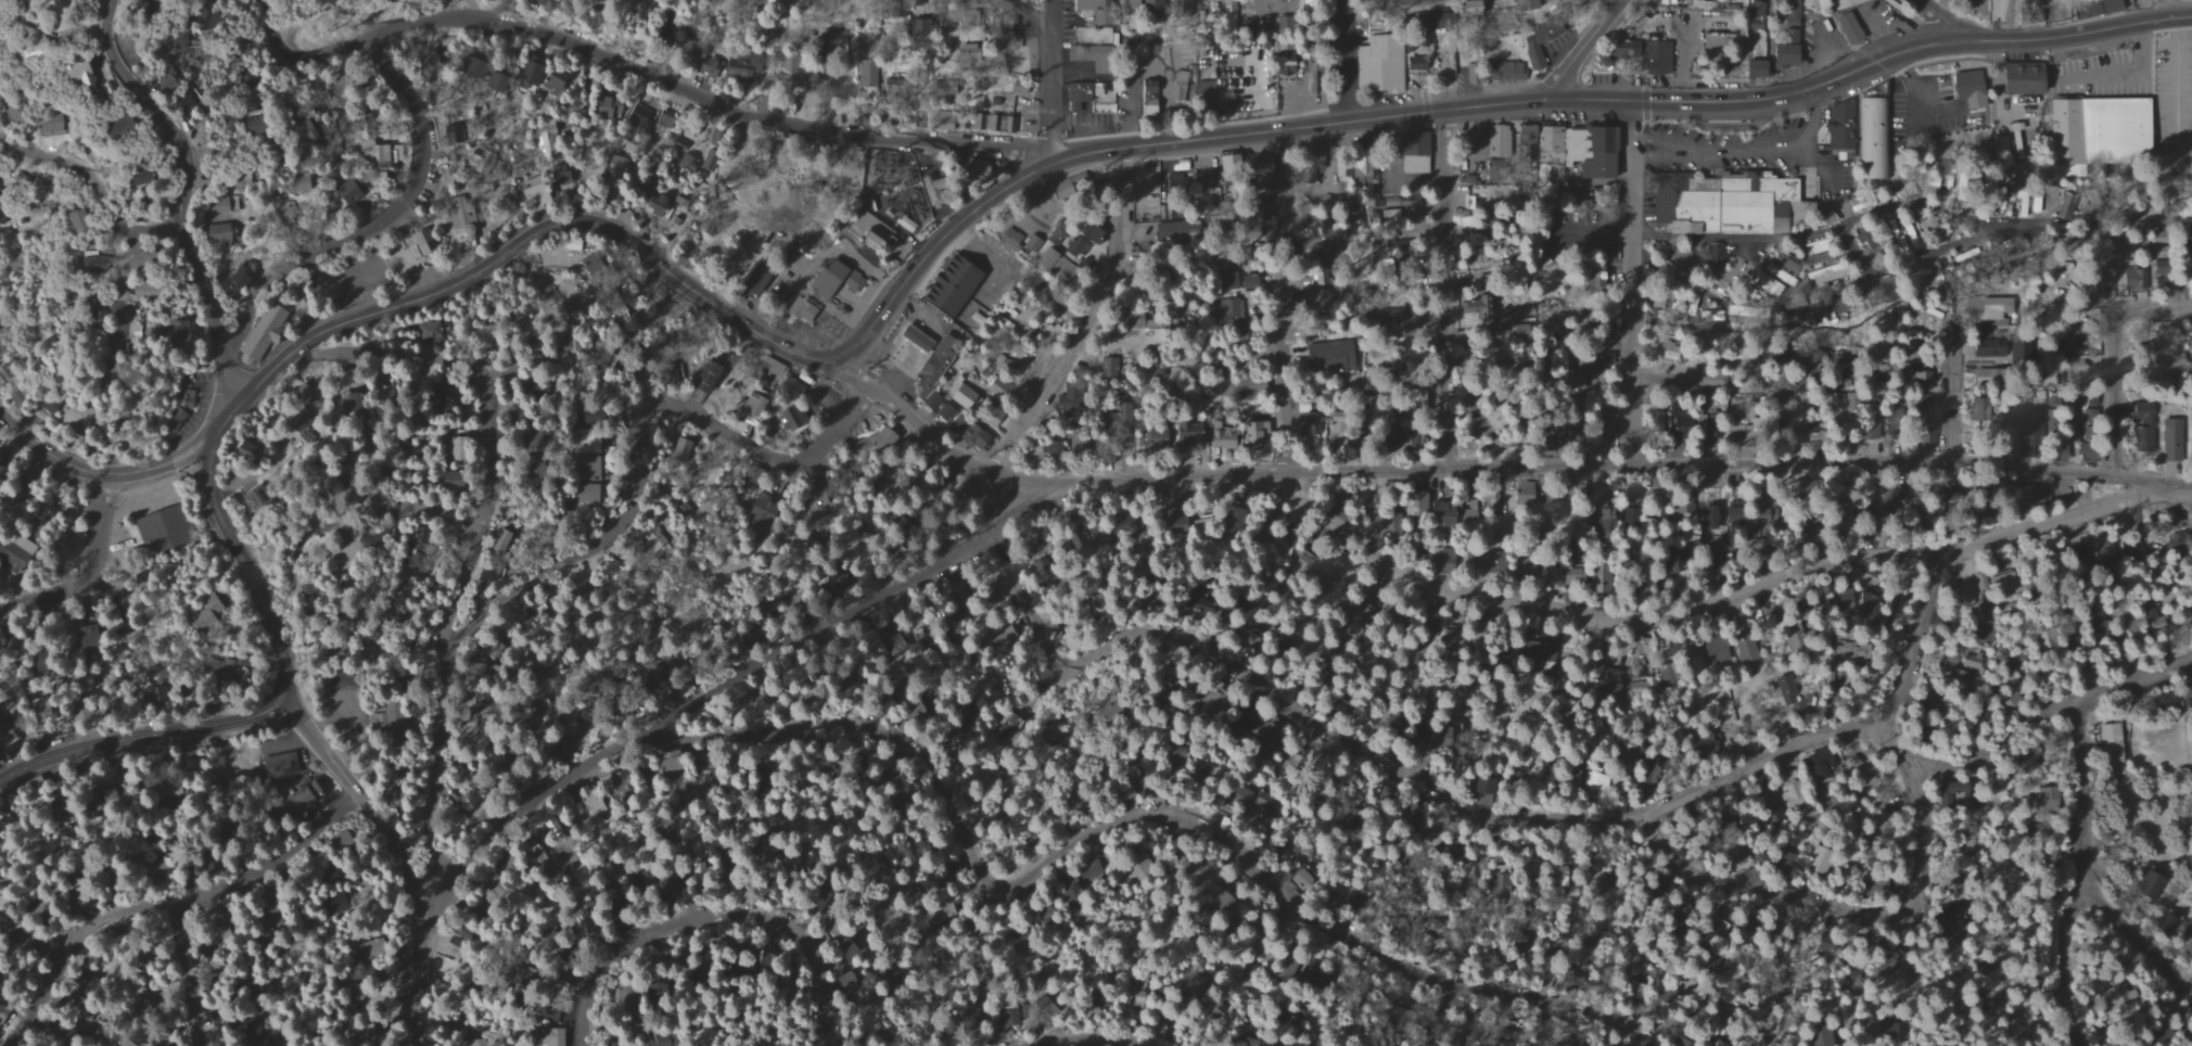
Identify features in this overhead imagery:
building: (1126, 2)
building: (1693, 2)
building: (1847, 3)
building: (65, 4)
building: (1518, 5)
building: (1148, 8)
building: (1469, 8)
building: (2091, 8)
building: (1092, 9)
building: (1755, 13)
road: (310, 16)
road: (1021, 16)
road: (1046, 16)
building: (1431, 18)
road: (1947, 21)
building: (1848, 28)
building: (1539, 42)
building: (38, 47)
road: (1580, 49)
building: (1784, 49)
building: (1076, 55)
building: (1655, 58)
road: (1346, 60)
building: (1382, 63)
building: (1284, 64)
building: (752, 65)
building: (1443, 65)
building: (1751, 65)
building: (473, 66)
road: (2164, 69)
building: (85, 74)
building: (867, 76)
road: (1047, 77)
building: (2017, 79)
building: (168, 81)
building: (497, 81)
building: (553, 84)
building: (1964, 85)
building: (1018, 88)
building: (1175, 88)
road: (700, 89)
building: (1201, 89)
building: (1098, 94)
building: (1075, 95)
building: (1146, 98)
building: (610, 110)
building: (15, 116)
building: (638, 119)
building: (944, 123)
building: (256, 124)
building: (129, 125)
building: (1837, 125)
building: (51, 128)
building: (2097, 129)
building: (307, 131)
building: (1522, 135)
building: (1576, 136)
road: (1047, 137)
building: (1487, 138)
building: (1871, 138)
building: (547, 139)
road: (1112, 149)
road: (1744, 150)
road: (1065, 153)
building: (375, 154)
building: (1226, 163)
building: (487, 164)
building: (1412, 164)
building: (689, 165)
building: (614, 166)
building: (1390, 166)
building: (872, 168)
building: (969, 169)
building: (1251, 169)
road: (411, 177)
building: (145, 178)
building: (637, 182)
road: (97, 184)
building: (1173, 187)
building: (1990, 187)
building: (535, 193)
building: (356, 195)
building: (1, 200)
building: (2034, 200)
road: (187, 202)
building: (2021, 202)
building: (1725, 205)
building: (659, 206)
building: (2003, 206)
road: (1907, 208)
building: (2061, 214)
building: (1277, 219)
building: (460, 221)
building: (1151, 222)
building: (79, 225)
building: (1883, 228)
building: (222, 232)
building: (1081, 234)
building: (1009, 239)
road: (1687, 240)
building: (428, 243)
building: (1029, 244)
road: (1961, 244)
road: (977, 248)
building: (1307, 248)
building: (1716, 255)
building: (1041, 257)
building: (149, 259)
building: (97, 261)
building: (585, 261)
building: (1058, 266)
road: (1877, 272)
building: (1777, 275)
building: (1824, 275)
building: (241, 277)
road: (119, 278)
building: (831, 278)
building: (2126, 278)
road: (1630, 281)
building: (1245, 282)
building: (1766, 284)
road: (1685, 285)
building: (946, 288)
road: (1443, 288)
building: (154, 294)
building: (1314, 299)
building: (626, 301)
road: (1276, 301)
building: (1985, 307)
building: (1476, 308)
building: (799, 309)
road: (1084, 320)
building: (268, 327)
building: (138, 331)
building: (428, 332)
building: (486, 332)
building: (1597, 332)
building: (183, 333)
building: (909, 337)
building: (1985, 347)
building: (1667, 352)
building: (1766, 353)
road: (387, 354)
road: (2117, 356)
building: (1326, 358)
building: (709, 377)
building: (780, 378)
building: (932, 379)
building: (1563, 379)
road: (1657, 380)
building: (1921, 381)
building: (1709, 382)
building: (12, 384)
road: (1787, 385)
building: (188, 388)
building: (991, 388)
road: (1953, 390)
building: (959, 394)
building: (303, 397)
building: (47, 405)
building: (342, 407)
building: (751, 407)
building: (1975, 409)
building: (1107, 413)
building: (77, 416)
building: (990, 417)
building: (1681, 419)
building: (1654, 420)
building: (1301, 421)
building: (1336, 422)
building: (2028, 423)
building: (2141, 428)
building: (1757, 429)
building: (1253, 432)
building: (968, 434)
building: (1171, 434)
building: (2003, 434)
building: (1922, 435)
building: (1221, 437)
building: (2169, 438)
building: (875, 441)
building: (586, 443)
building: (1073, 444)
road: (43, 447)
building: (454, 448)
road: (1739, 462)
road: (156, 470)
road: (1042, 483)
road: (2190, 488)
road: (493, 493)
building: (2014, 493)
building: (1491, 497)
building: (1549, 500)
building: (1418, 501)
road: (419, 505)
building: (812, 506)
building: (762, 509)
building: (1232, 510)
building: (1662, 510)
building: (1604, 511)
road: (1005, 514)
building: (1439, 514)
building: (1732, 514)
building: (1708, 518)
building: (1471, 521)
building: (1178, 523)
building: (1231, 523)
building: (1631, 523)
road: (621, 525)
building: (1388, 526)
building: (158, 530)
building: (652, 539)
building: (498, 541)
building: (1282, 546)
building: (2104, 551)
building: (2130, 552)
building: (1303, 564)
building: (1488, 564)
road: (246, 566)
building: (1520, 572)
road: (86, 573)
building: (1551, 575)
building: (998, 576)
building: (1575, 576)
building: (2002, 587)
building: (1962, 596)
road: (1720, 600)
building: (1852, 604)
road: (806, 634)
building: (71, 635)
building: (1746, 651)
building: (1717, 654)
building: (1694, 660)
building: (2004, 660)
building: (216, 669)
building: (1607, 680)
building: (1644, 686)
building: (2185, 688)
building: (1783, 690)
building: (386, 718)
building: (1242, 728)
road: (142, 738)
building: (1439, 740)
building: (1707, 743)
building: (2111, 743)
building: (2025, 762)
building: (666, 763)
building: (1819, 764)
building: (277, 766)
building: (1486, 782)
building: (1595, 783)
road: (356, 791)
building: (1239, 792)
road: (2079, 795)
building: (304, 798)
building: (2046, 798)
building: (1795, 800)
building: (1770, 808)
road: (524, 814)
road: (1132, 817)
road: (1535, 820)
building: (1819, 859)
building: (1144, 863)
road: (1915, 872)
building: (1297, 876)
building: (2151, 884)
road: (163, 903)
road: (712, 914)
building: (2191, 934)
road: (2141, 940)
building: (1430, 942)
building: (844, 952)
road: (2064, 966)
road: (419, 969)
road: (190, 973)
building: (1637, 988)
building: (1135, 991)
building: (2113, 996)
building: (546, 1037)
road: (1091, 1037)
building: (1720, 1039)

